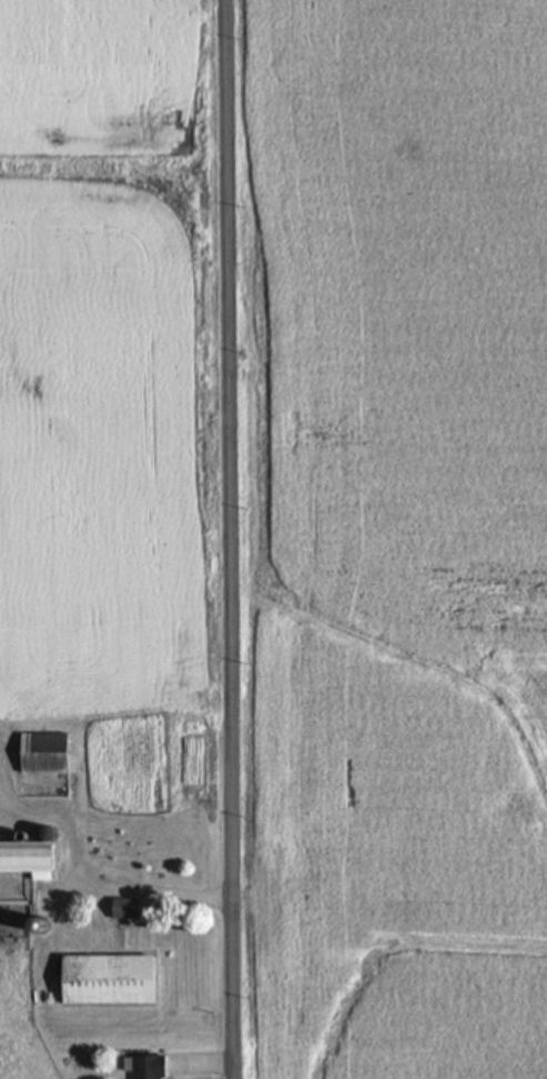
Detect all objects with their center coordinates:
road: (226, 538)
building: (40, 752)
building: (26, 857)
road: (87, 886)
building: (123, 908)
building: (105, 978)
road: (197, 1062)
building: (142, 1065)

